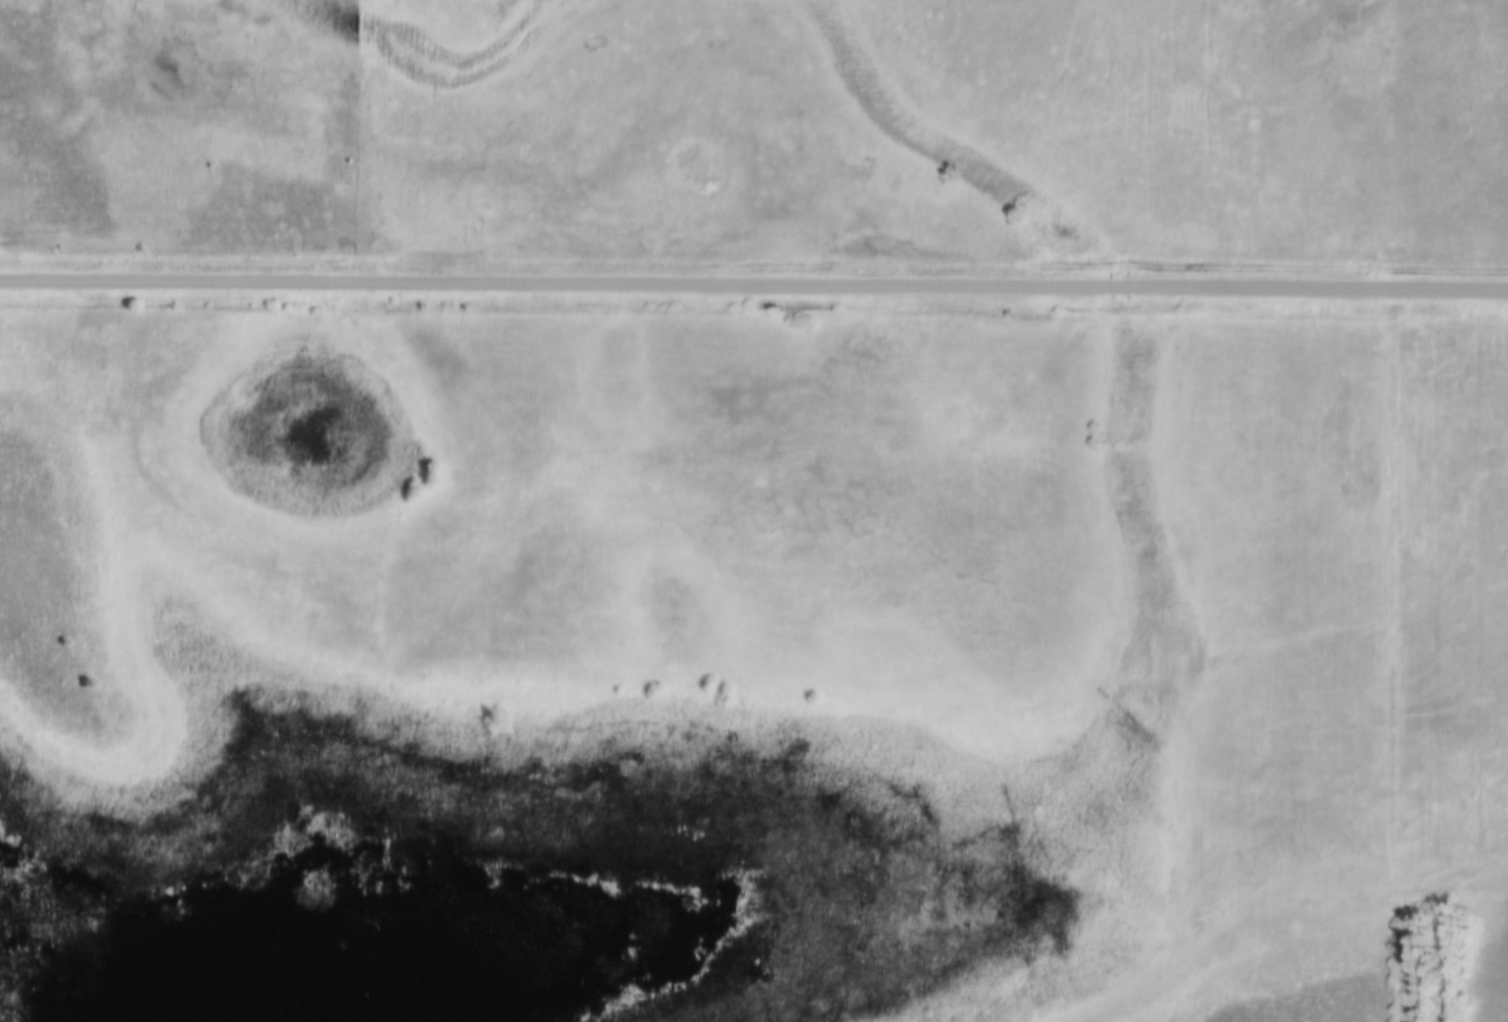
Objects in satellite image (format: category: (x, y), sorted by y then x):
road: (753, 287)

